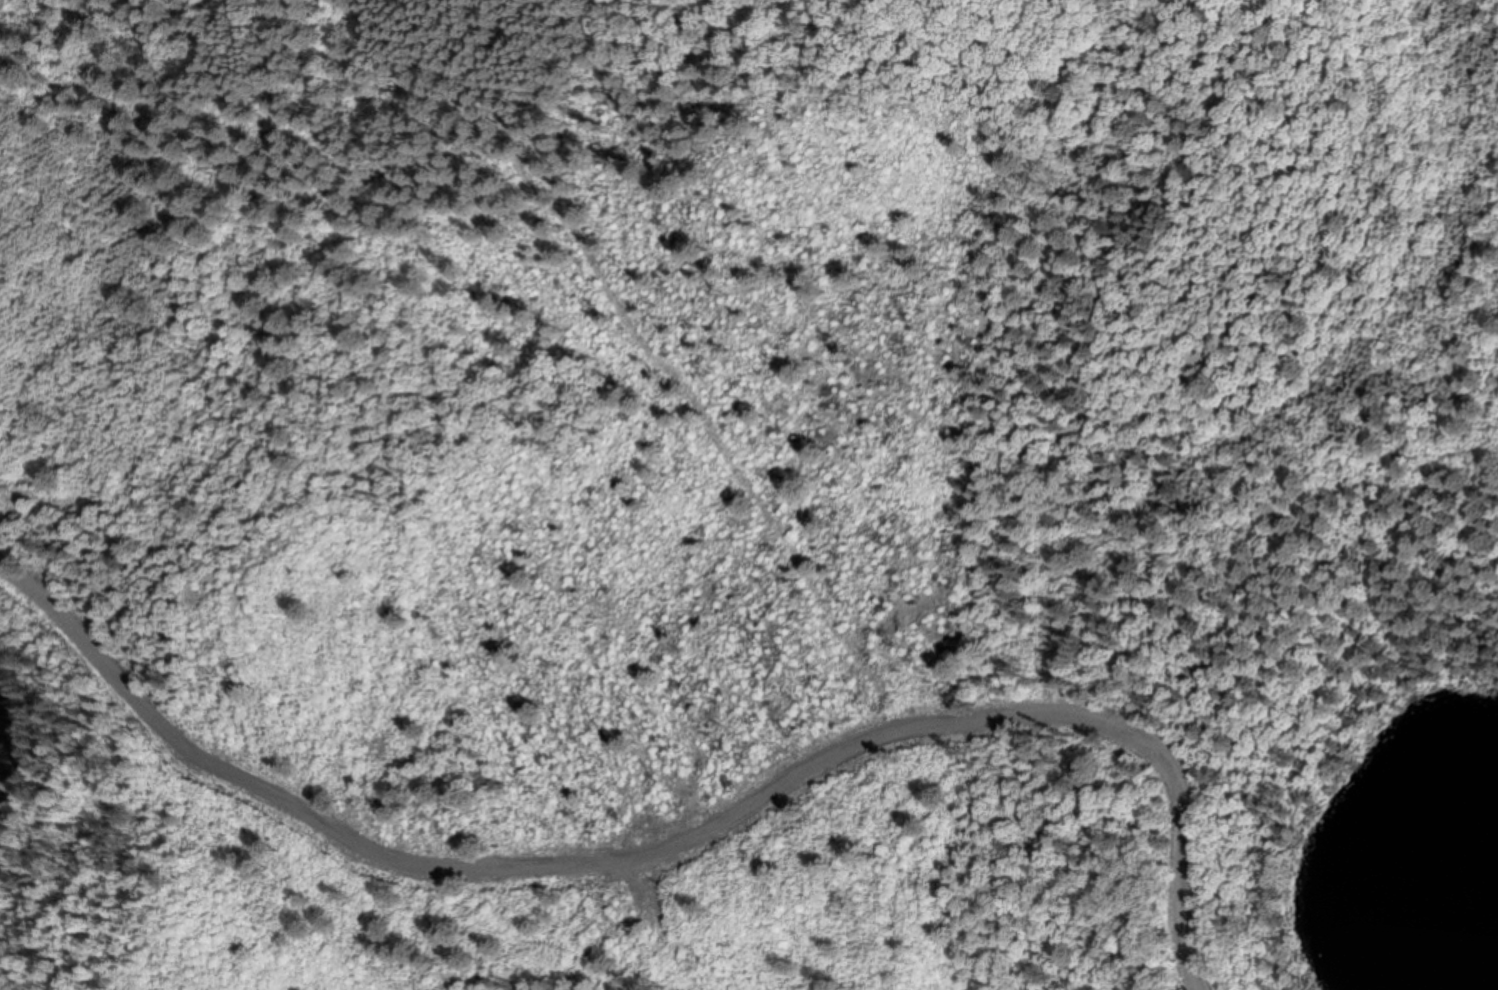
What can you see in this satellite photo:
road: (663, 850)

